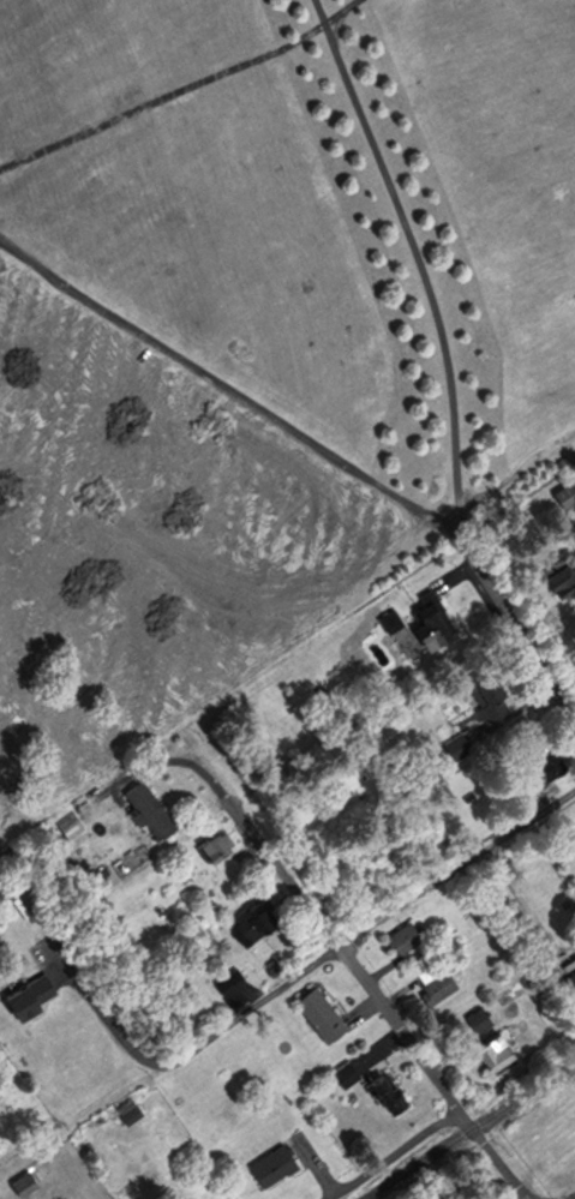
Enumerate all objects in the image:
road: (325, 11)
road: (180, 85)
road: (448, 374)
road: (230, 397)
building: (571, 493)
road: (534, 816)
road: (367, 978)
road: (192, 1055)
railway: (472, 1132)
road: (399, 1157)
road: (76, 1176)

